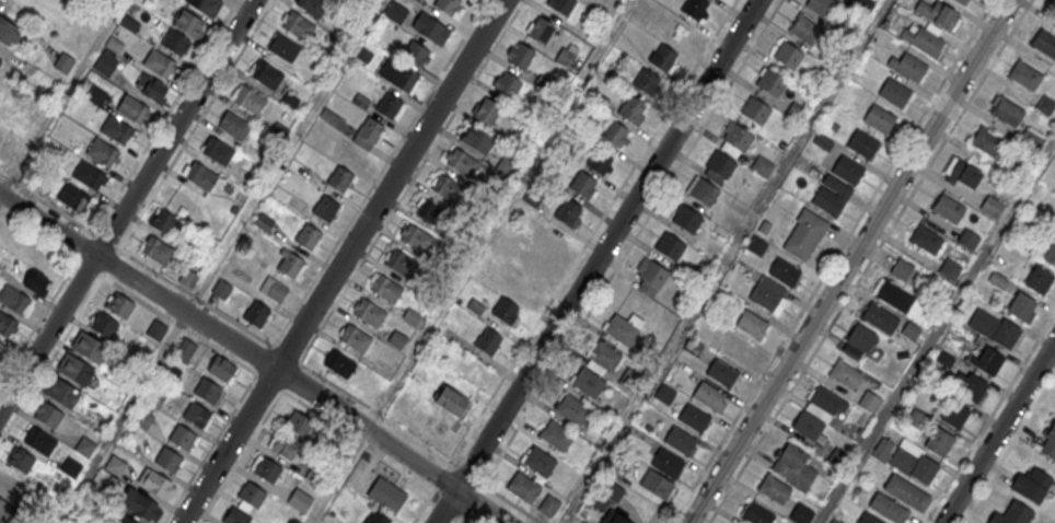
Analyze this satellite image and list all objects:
building: (961, 2)
building: (206, 5)
building: (313, 5)
building: (561, 5)
building: (863, 5)
building: (450, 7)
building: (822, 8)
building: (695, 10)
building: (396, 12)
building: (1054, 13)
building: (937, 15)
building: (188, 22)
building: (130, 23)
building: (299, 24)
building: (680, 31)
building: (805, 31)
building: (433, 32)
building: (541, 32)
building: (8, 34)
building: (921, 39)
building: (175, 43)
building: (114, 44)
building: (1045, 44)
building: (283, 47)
building: (417, 56)
building: (788, 56)
building: (521, 57)
building: (662, 58)
building: (0, 61)
building: (63, 62)
building: (159, 62)
building: (105, 63)
building: (908, 68)
building: (267, 74)
building: (1025, 77)
building: (399, 79)
building: (646, 82)
building: (769, 83)
building: (507, 84)
building: (152, 88)
building: (894, 93)
building: (96, 94)
road: (61, 97)
building: (250, 98)
building: (290, 100)
building: (361, 101)
building: (1045, 104)
building: (391, 107)
building: (23, 108)
building: (132, 108)
building: (630, 109)
building: (796, 111)
building: (486, 112)
building: (755, 112)
building: (1007, 112)
road: (164, 116)
building: (879, 119)
road: (196, 124)
building: (233, 125)
building: (115, 129)
building: (367, 133)
building: (616, 133)
building: (737, 137)
building: (1029, 139)
building: (477, 140)
building: (986, 142)
building: (862, 144)
building: (218, 150)
building: (102, 151)
building: (7, 154)
building: (599, 162)
building: (462, 163)
building: (506, 164)
building: (720, 164)
building: (762, 166)
building: (847, 171)
building: (88, 174)
building: (199, 175)
building: (963, 175)
building: (339, 177)
road: (411, 181)
road: (390, 185)
building: (582, 185)
building: (448, 189)
building: (702, 191)
road: (0, 195)
building: (832, 195)
building: (72, 196)
building: (184, 200)
road: (126, 205)
building: (990, 206)
building: (325, 207)
building: (948, 209)
road: (59, 210)
building: (430, 213)
building: (568, 213)
building: (685, 219)
building: (264, 222)
road: (593, 231)
building: (308, 235)
building: (804, 235)
building: (552, 236)
building: (416, 239)
building: (969, 239)
building: (926, 241)
road: (631, 242)
road: (50, 243)
building: (755, 245)
building: (669, 247)
building: (155, 249)
building: (1050, 253)
road: (596, 260)
road: (723, 261)
road: (832, 261)
road: (850, 261)
road: (870, 261)
building: (290, 263)
building: (399, 264)
building: (536, 264)
building: (949, 268)
building: (901, 269)
building: (784, 272)
building: (652, 275)
building: (187, 277)
building: (1039, 279)
road: (137, 281)
building: (37, 282)
building: (385, 288)
building: (273, 289)
building: (889, 292)
building: (768, 294)
building: (13, 299)
road: (201, 301)
building: (118, 305)
building: (1021, 305)
building: (506, 311)
building: (370, 313)
building: (256, 314)
building: (877, 318)
building: (5, 324)
building: (103, 324)
building: (751, 325)
building: (993, 327)
building: (155, 329)
building: (619, 330)
road: (937, 332)
building: (355, 338)
building: (857, 340)
building: (488, 341)
building: (1, 344)
building: (89, 347)
building: (184, 349)
building: (604, 357)
building: (989, 361)
building: (339, 363)
building: (221, 368)
building: (74, 369)
building: (170, 372)
building: (721, 373)
building: (845, 375)
building: (629, 381)
building: (588, 383)
building: (972, 387)
building: (60, 391)
building: (208, 391)
building: (707, 396)
building: (451, 400)
building: (825, 400)
road: (324, 403)
building: (869, 403)
building: (571, 409)
building: (954, 414)
building: (48, 415)
building: (196, 415)
road: (989, 417)
building: (142, 418)
building: (694, 418)
building: (299, 423)
building: (807, 427)
road: (998, 431)
building: (556, 435)
building: (182, 437)
building: (1048, 439)
building: (38, 440)
building: (679, 441)
building: (939, 442)
building: (84, 445)
building: (285, 445)
road: (228, 446)
road: (1008, 448)
building: (20, 460)
building: (167, 460)
building: (838, 460)
building: (538, 462)
building: (913, 462)
building: (666, 464)
building: (115, 465)
building: (793, 467)
building: (267, 468)
road: (441, 476)
road: (439, 477)
building: (7, 481)
building: (154, 483)
building: (654, 483)
building: (1031, 486)
building: (522, 487)
building: (774, 490)
building: (252, 493)
building: (906, 495)
building: (386, 496)
building: (299, 499)
building: (140, 503)
building: (548, 507)
building: (3, 508)
building: (888, 508)
building: (1012, 513)
building: (756, 514)
building: (801, 515)
building: (235, 516)
building: (375, 518)
road: (460, 519)
building: (868, 519)
building: (125, 520)
building: (617, 520)
road: (457, 522)

